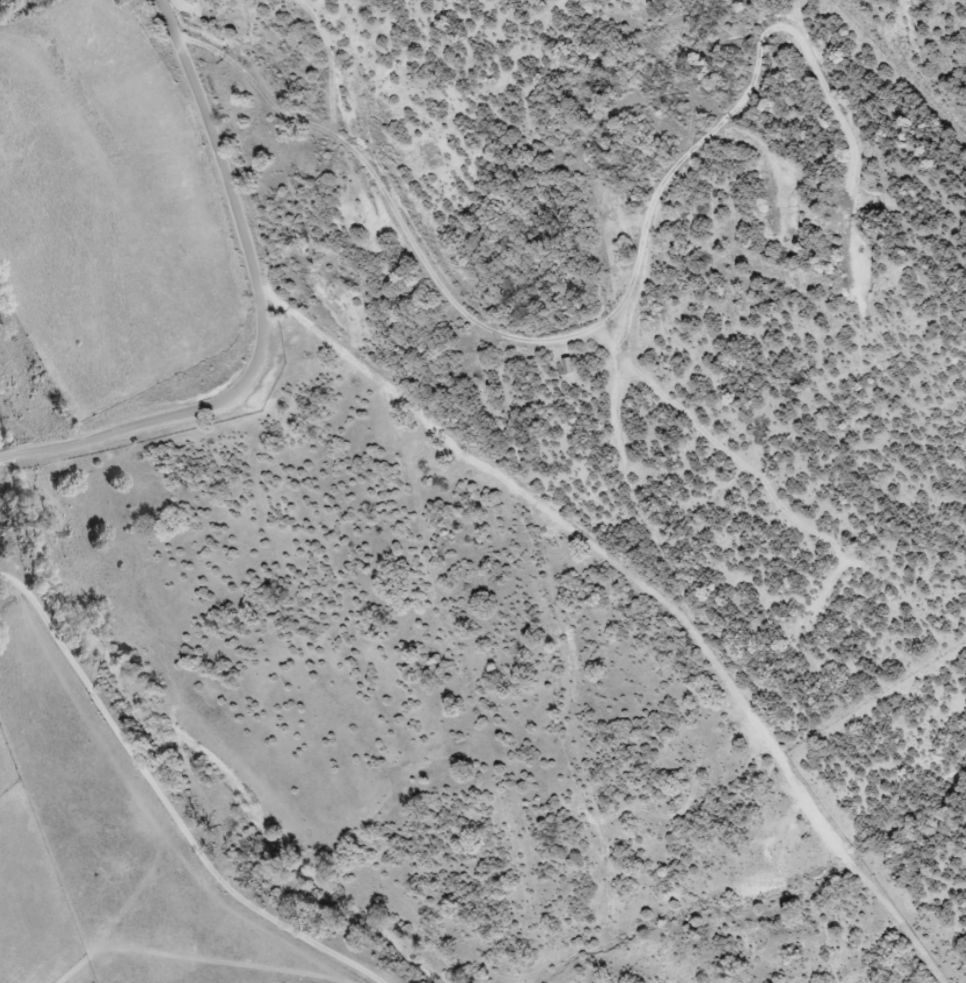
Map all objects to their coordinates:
road: (261, 319)
building: (569, 368)
road: (164, 709)

